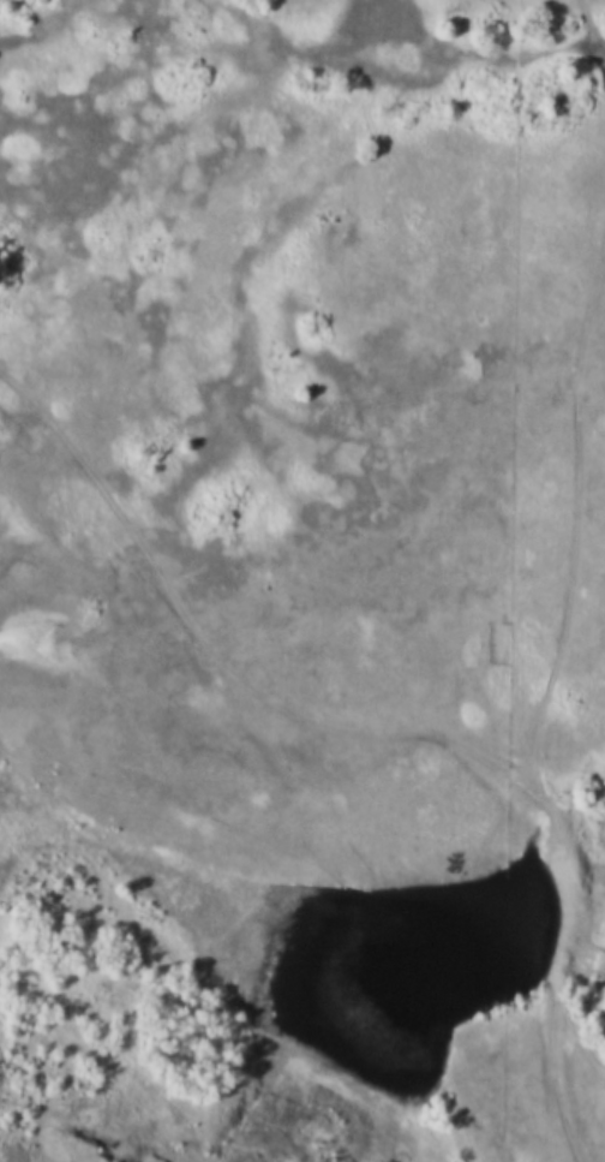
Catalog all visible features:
road: (594, 40)
road: (573, 537)
road: (378, 738)

